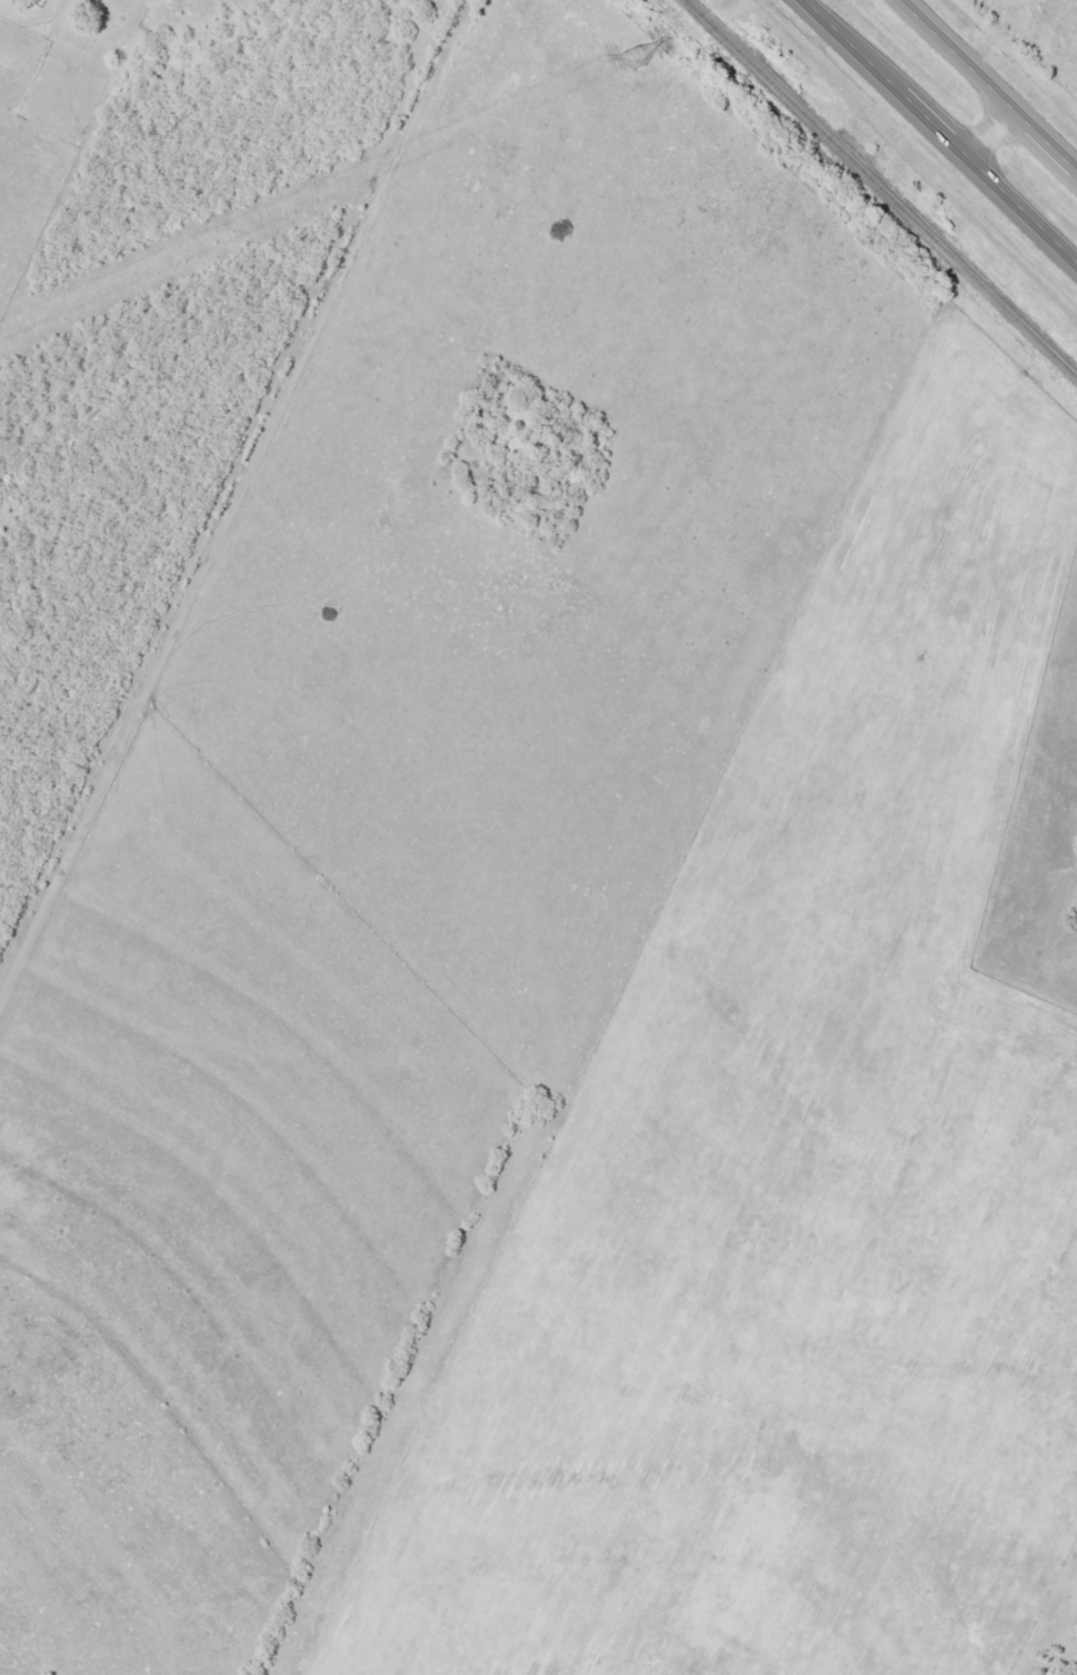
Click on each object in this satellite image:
power tower: (630, 59)
road: (987, 85)
road: (939, 131)
road: (988, 132)
railway: (880, 190)
road: (232, 497)

